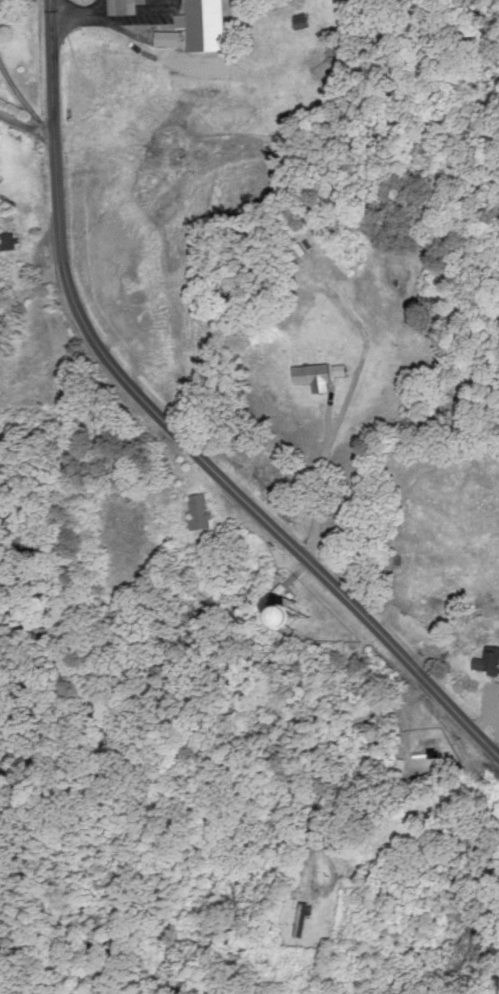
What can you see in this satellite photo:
building: (221, 19)
road: (26, 126)
building: (295, 258)
road: (32, 311)
building: (397, 316)
building: (310, 378)
road: (172, 425)
building: (196, 511)
building: (264, 612)
building: (487, 660)
building: (398, 767)
building: (299, 920)

